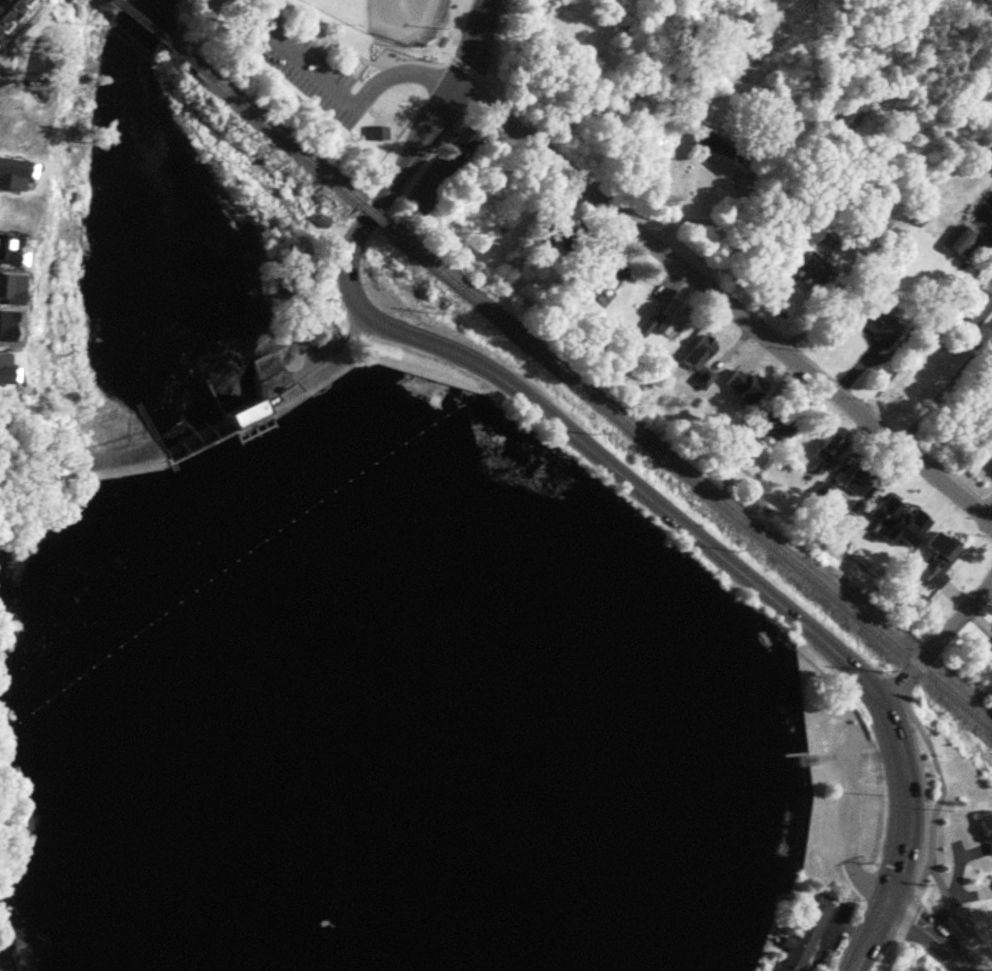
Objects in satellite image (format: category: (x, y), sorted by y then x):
road: (244, 7)
road: (257, 8)
building: (10, 12)
road: (325, 34)
railway: (157, 39)
road: (313, 48)
road: (451, 57)
park: (340, 61)
road: (352, 76)
road: (346, 99)
building: (855, 110)
building: (376, 131)
railway: (282, 142)
building: (457, 142)
building: (878, 149)
building: (712, 150)
railway: (369, 213)
road: (703, 219)
road: (783, 219)
river: (150, 220)
building: (876, 227)
building: (561, 237)
building: (958, 240)
building: (812, 265)
building: (603, 279)
road: (991, 283)
road: (752, 298)
road: (724, 301)
building: (974, 311)
building: (666, 316)
building: (876, 321)
building: (699, 358)
road: (497, 375)
building: (741, 383)
road: (944, 386)
dam: (219, 436)
building: (824, 454)
railway: (685, 474)
building: (859, 479)
building: (893, 505)
building: (939, 556)
building: (916, 606)
building: (991, 642)
road: (935, 643)
river: (417, 676)
road: (935, 771)
building: (986, 829)
road: (902, 841)
road: (941, 891)
traffic signals: (886, 899)
road: (931, 930)
building: (801, 935)
road: (892, 941)

